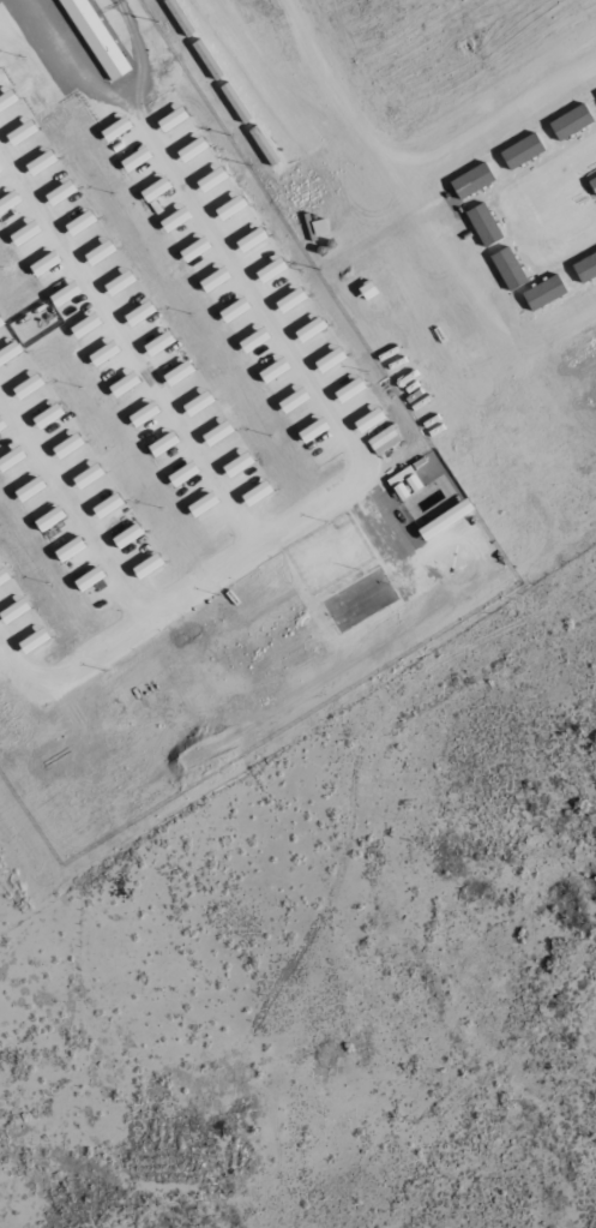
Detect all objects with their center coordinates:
building: (94, 38)
building: (570, 122)
building: (520, 151)
building: (470, 181)
building: (591, 185)
building: (482, 226)
building: (584, 268)
building: (506, 269)
building: (542, 293)

